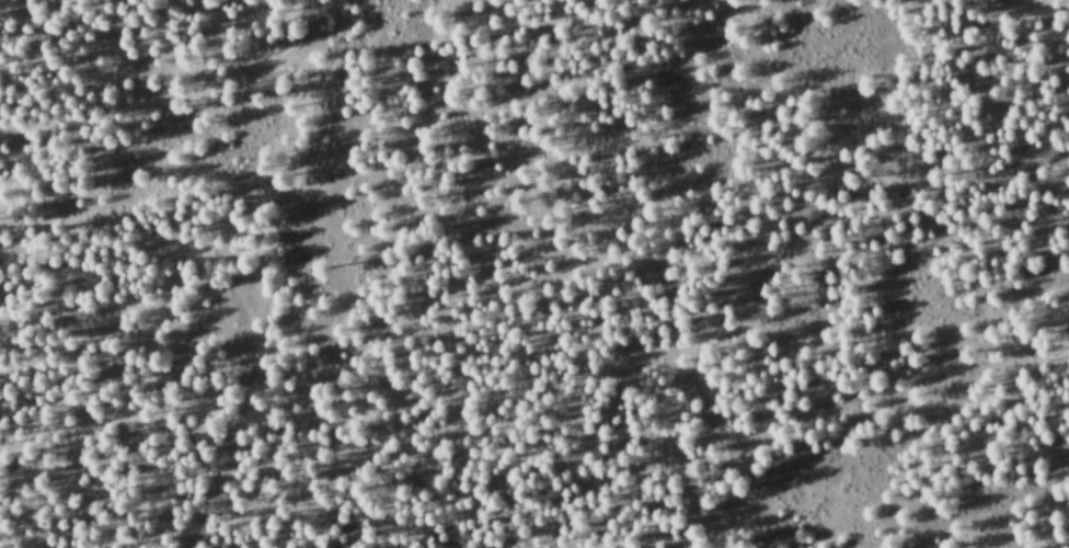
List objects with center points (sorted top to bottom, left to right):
road: (274, 278)

